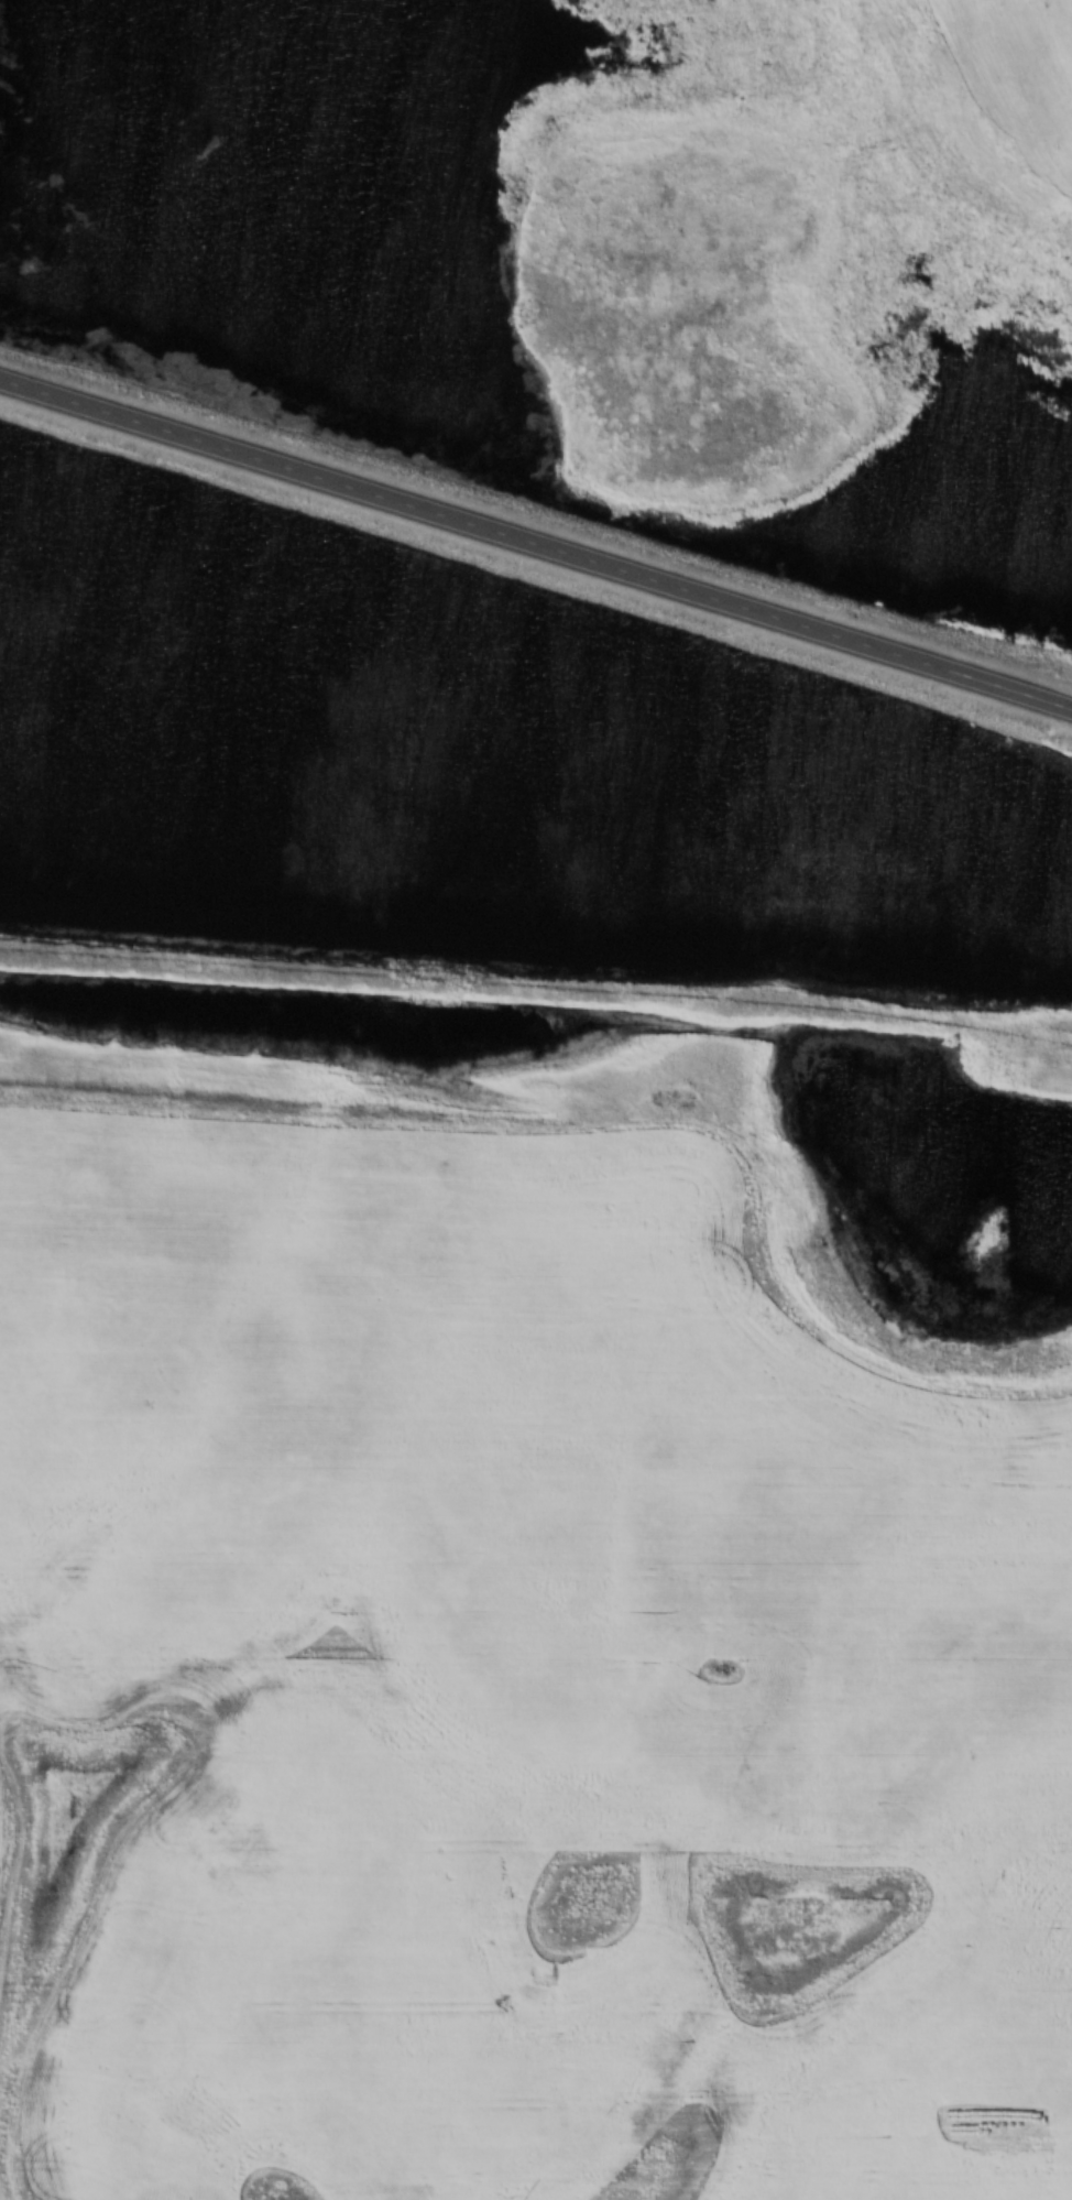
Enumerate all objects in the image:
road: (536, 545)

